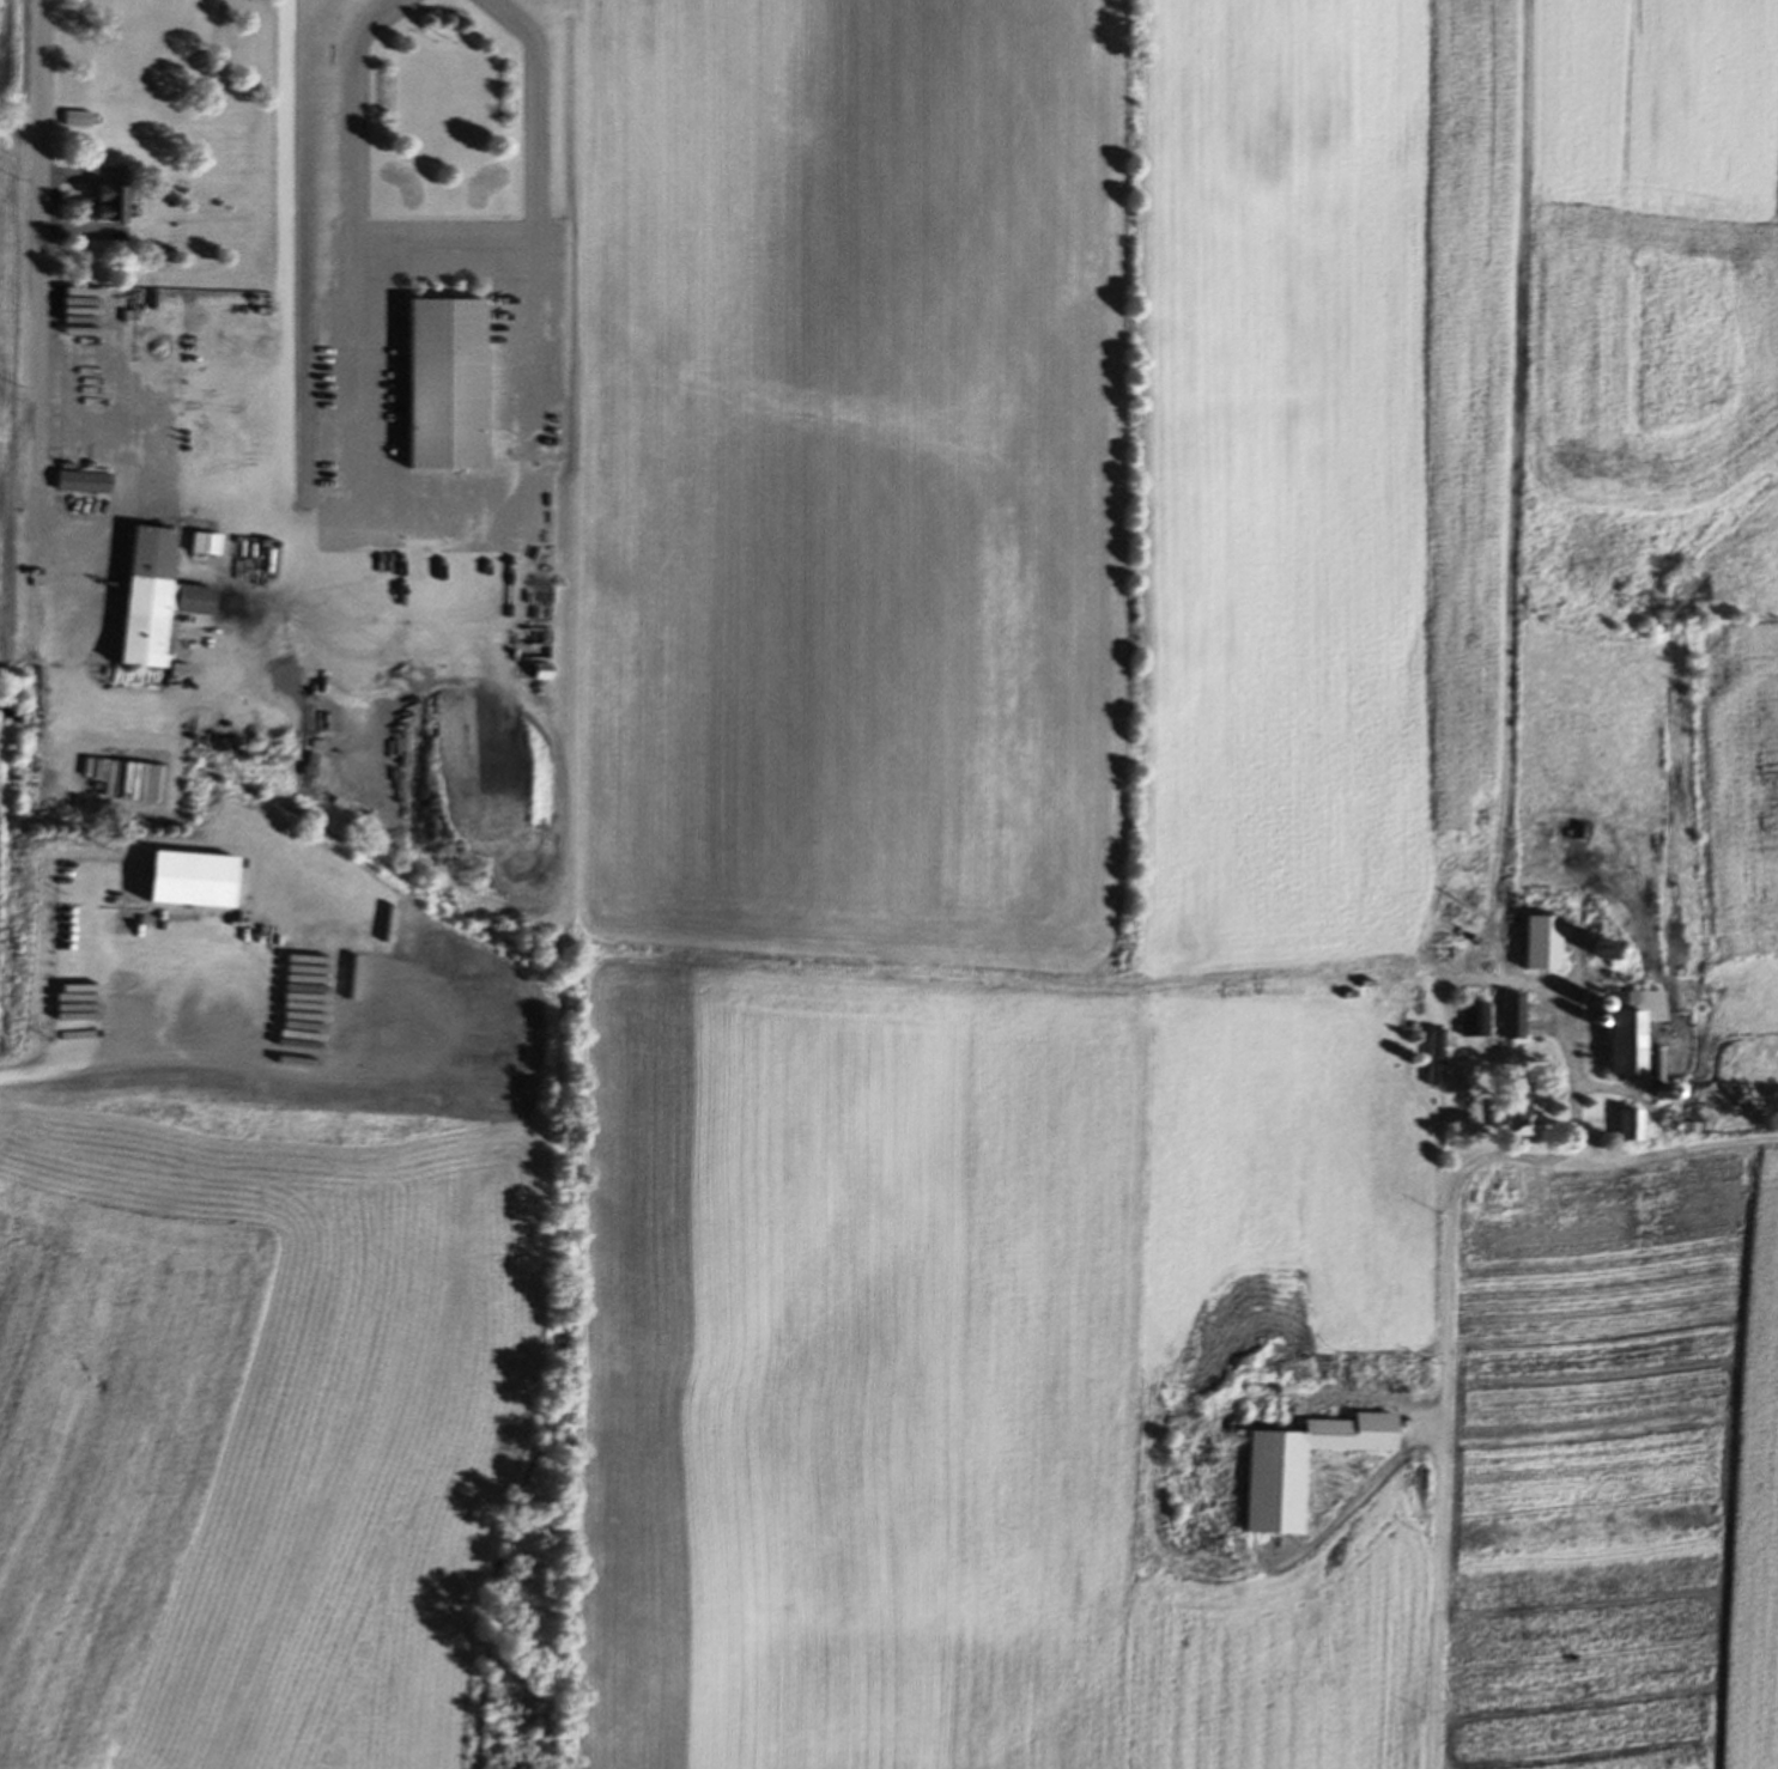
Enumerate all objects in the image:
building: (84, 120)
building: (115, 205)
road: (48, 341)
building: (435, 385)
road: (159, 505)
road: (322, 522)
building: (211, 546)
building: (163, 598)
building: (534, 673)
building: (148, 784)
building: (205, 883)
building: (1529, 943)
road: (1454, 968)
building: (1504, 1016)
building: (1471, 1020)
building: (1427, 1062)
road: (101, 1064)
building: (1504, 1112)
building: (1613, 1125)
building: (1291, 1466)

